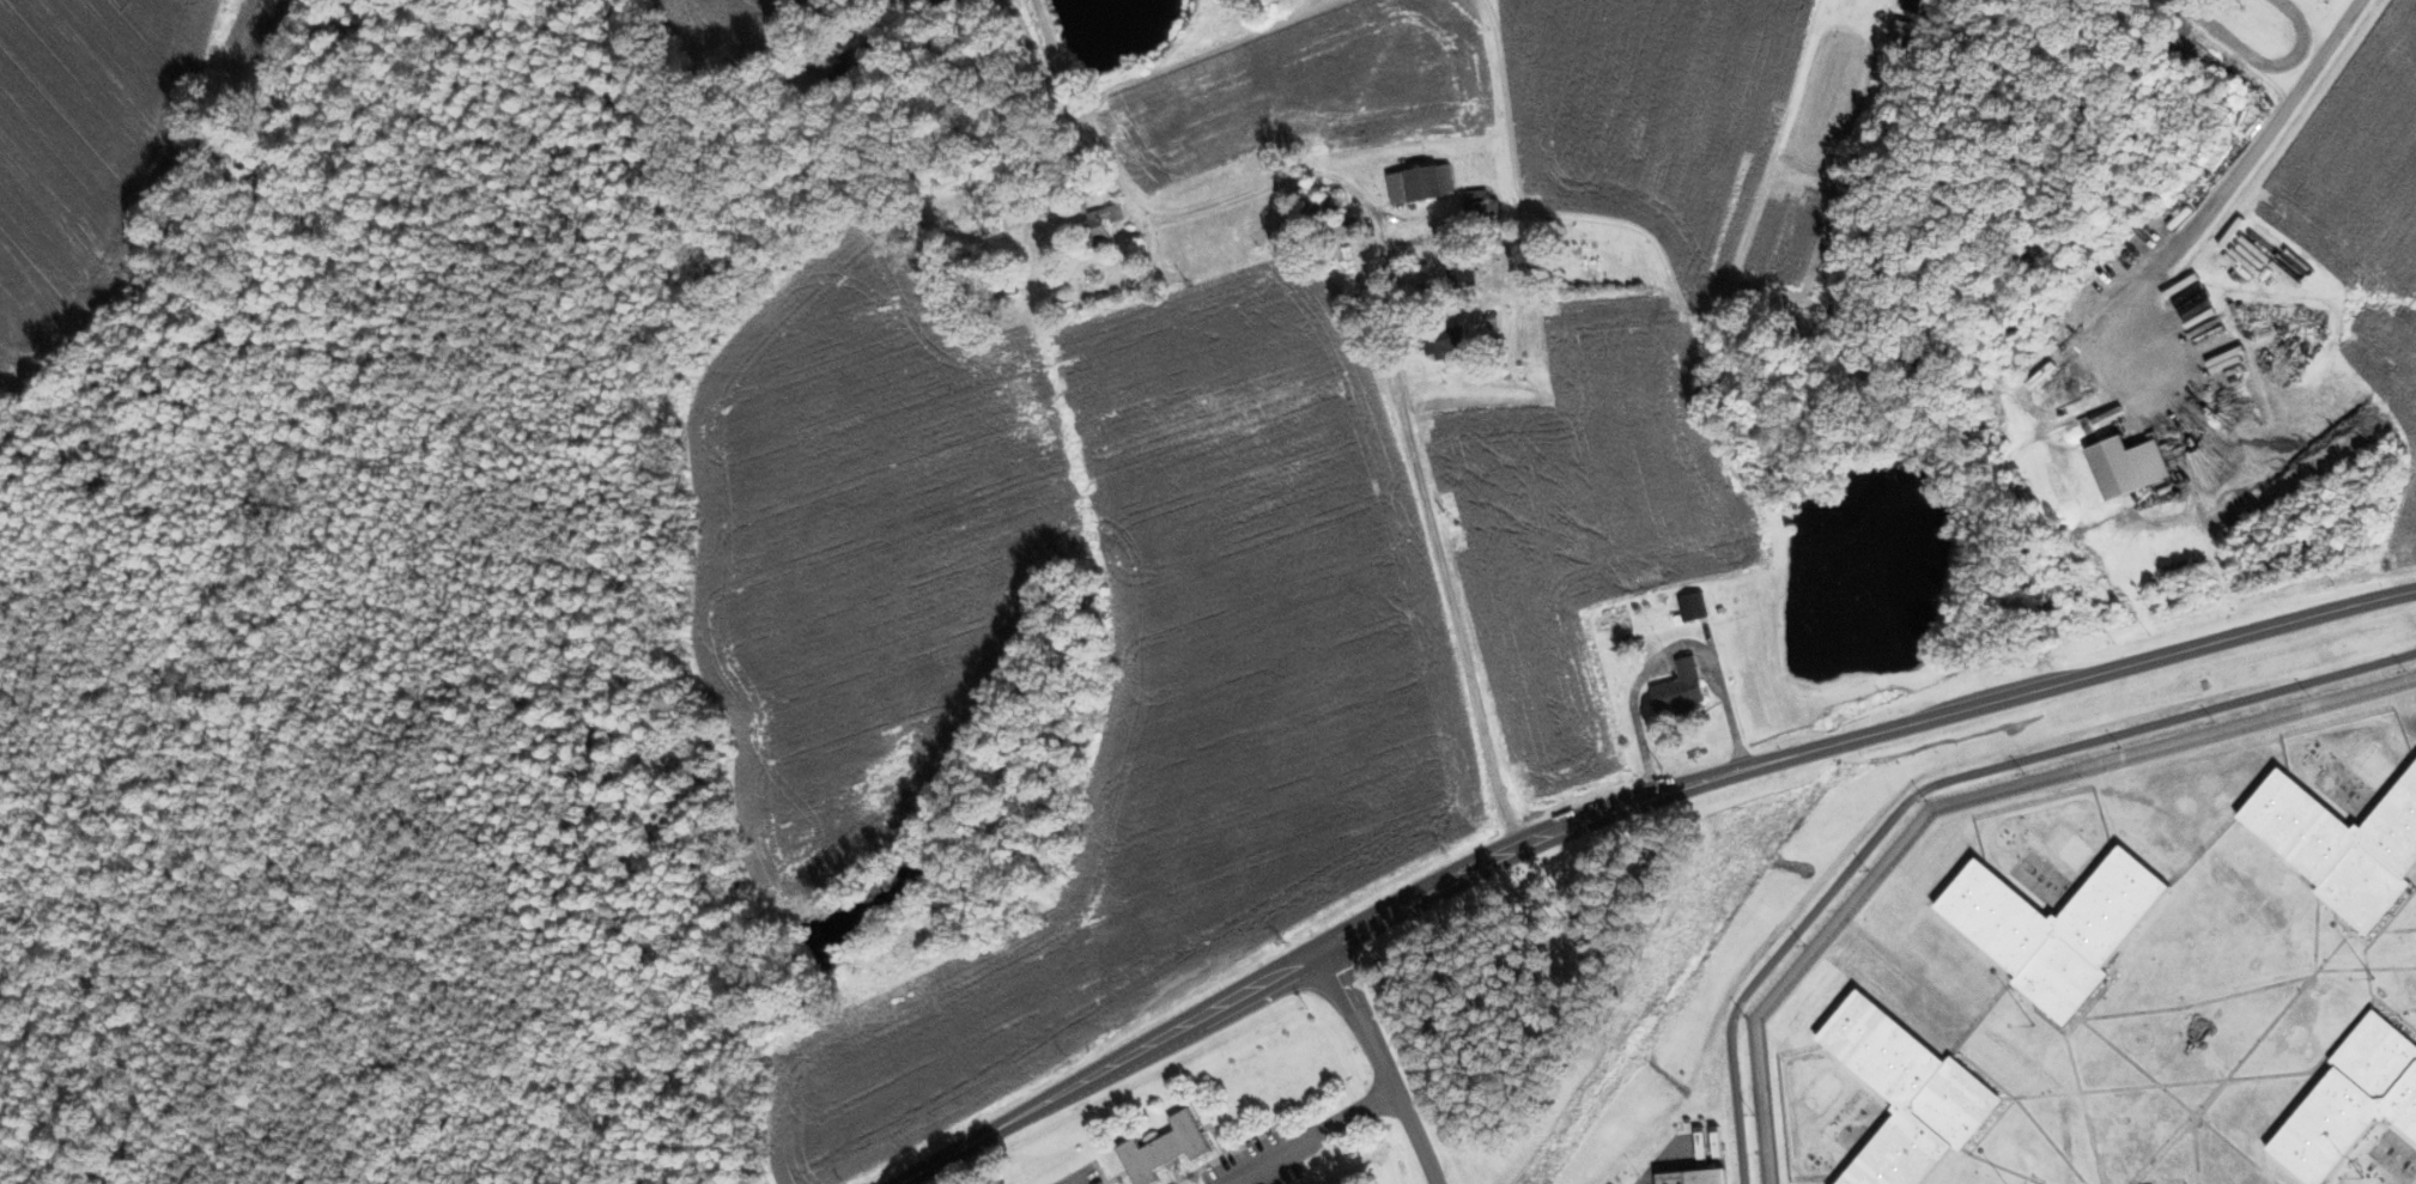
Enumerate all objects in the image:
building: (1906, 35)
road: (2253, 144)
building: (1420, 182)
building: (1099, 223)
road: (1384, 285)
building: (1444, 340)
road: (1676, 352)
road: (2129, 417)
building: (2127, 465)
building: (1692, 606)
building: (1679, 690)
road: (1943, 781)
road: (1626, 806)
building: (2341, 844)
building: (2054, 927)
road: (1380, 1067)
building: (1906, 1094)
building: (2351, 1100)
road: (1312, 1139)
building: (1163, 1148)
building: (1693, 1177)

